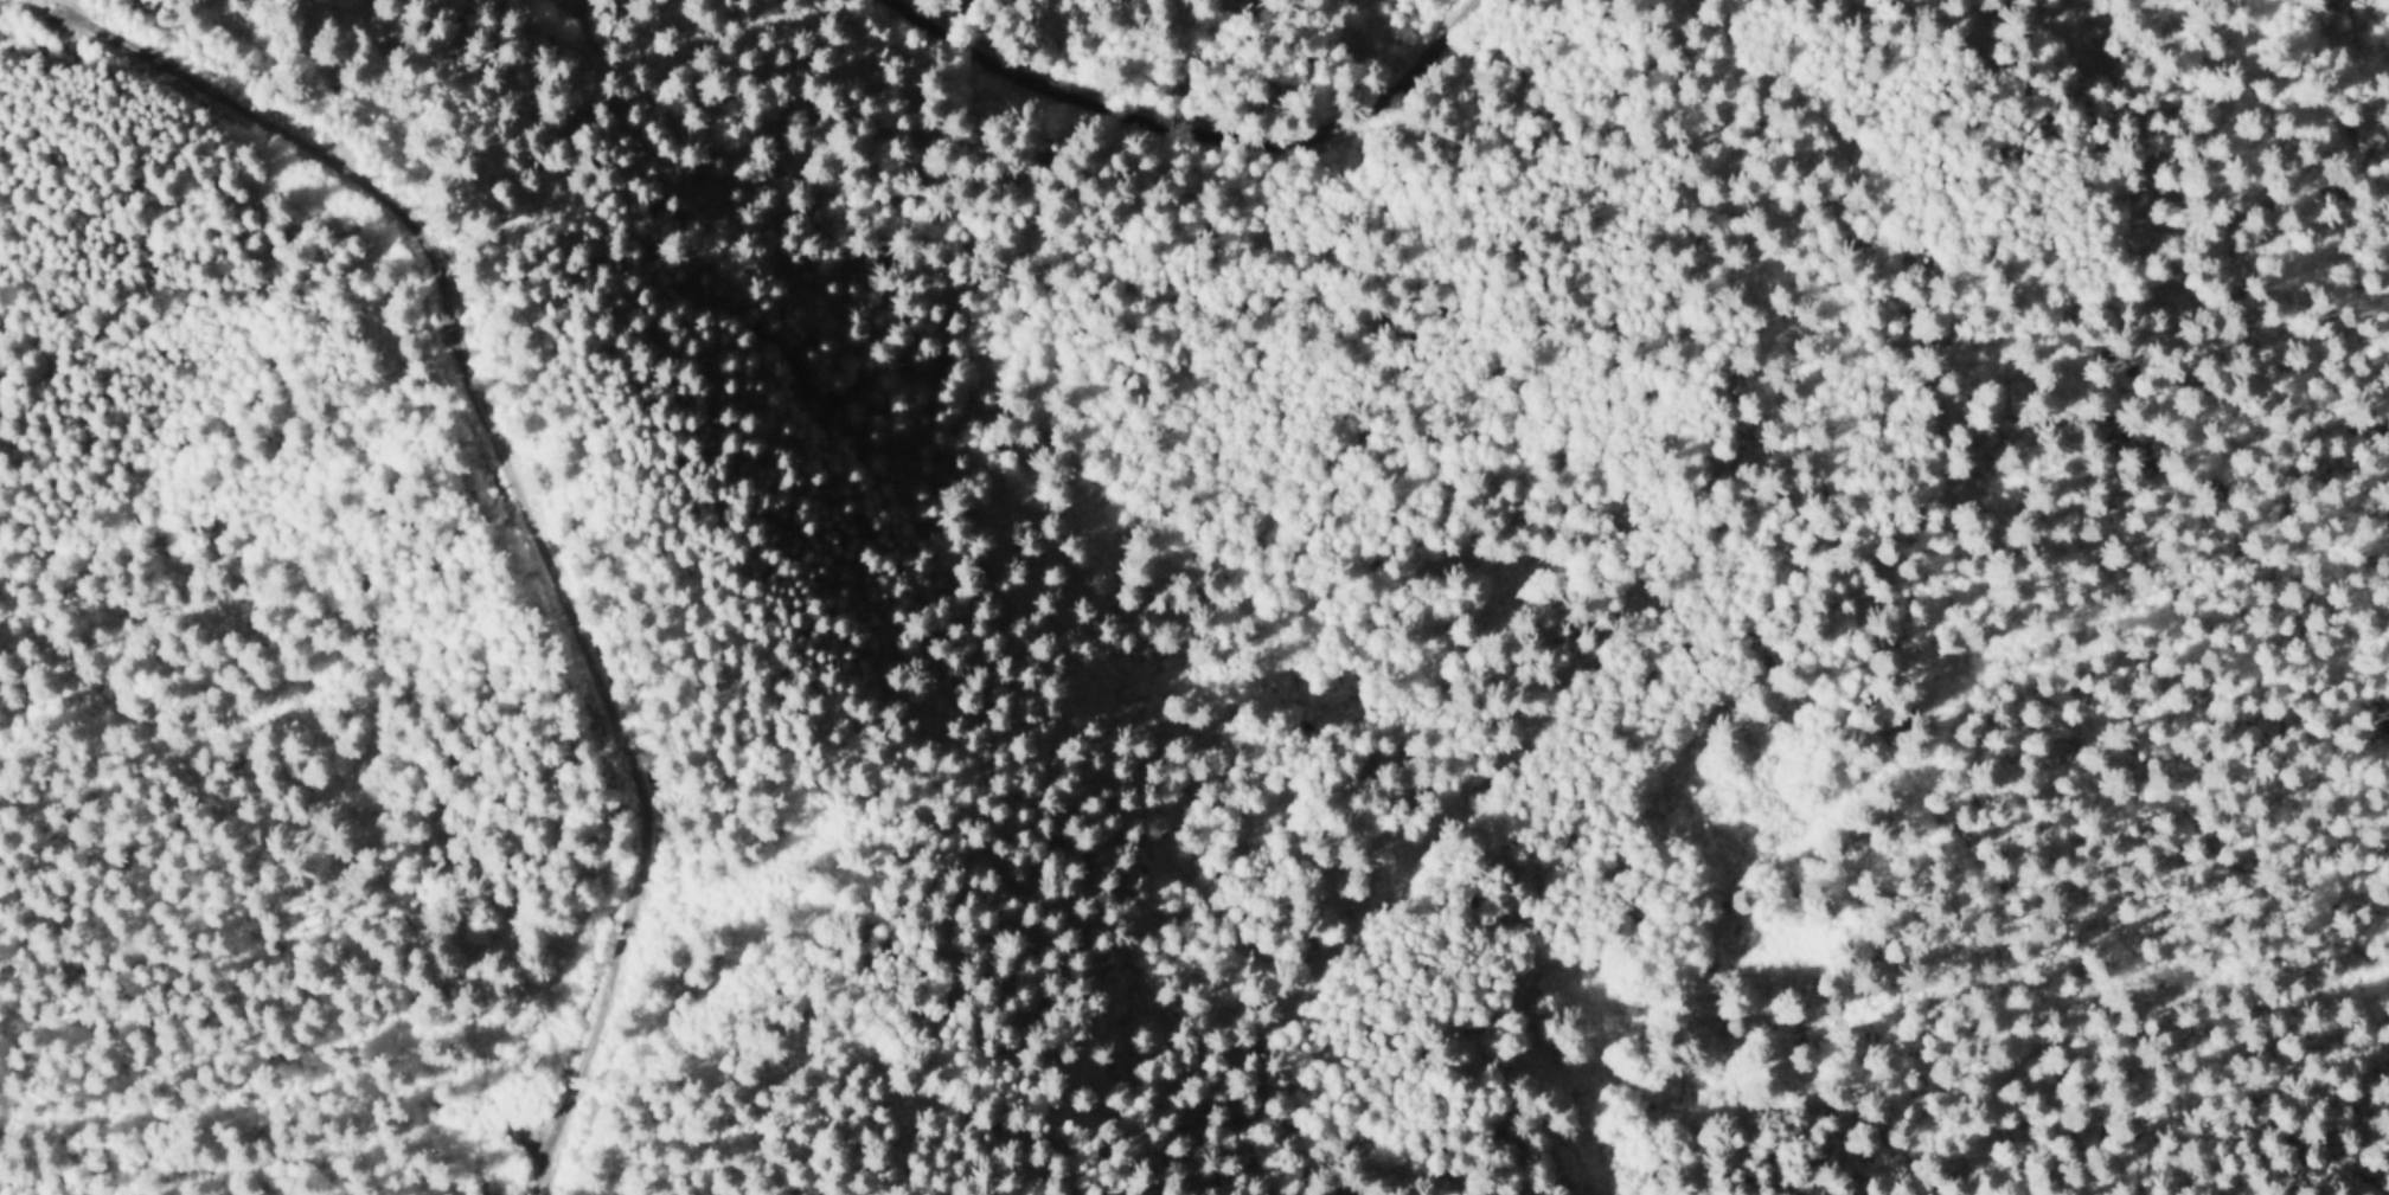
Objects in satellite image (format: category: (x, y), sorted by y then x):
road: (1190, 142)
road: (486, 429)
road: (645, 975)

